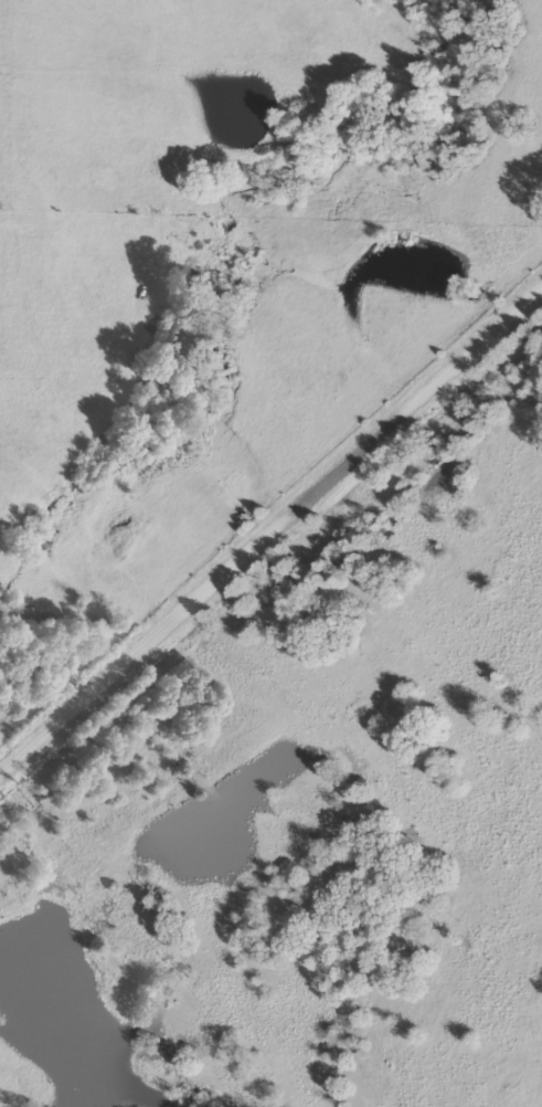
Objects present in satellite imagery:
road: (268, 526)

